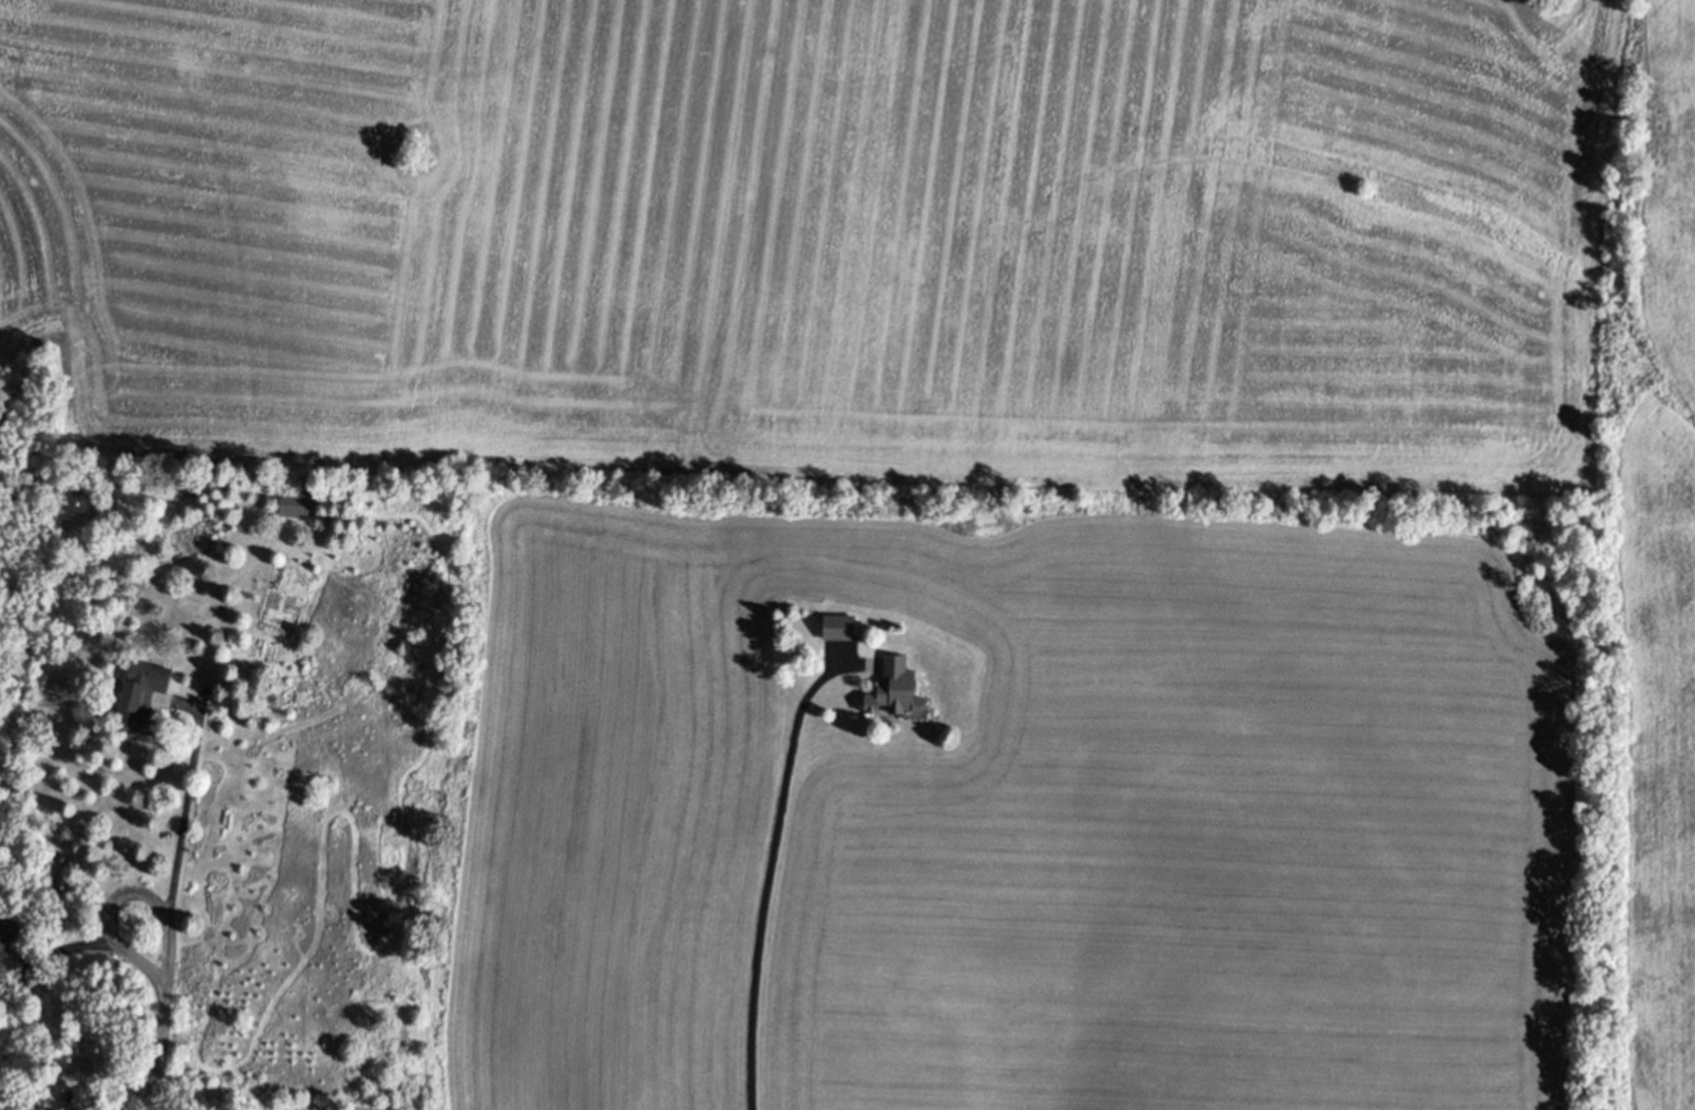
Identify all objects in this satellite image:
building: (294, 503)
building: (839, 626)
building: (894, 689)
building: (142, 694)
road: (182, 811)
road: (771, 866)
road: (104, 919)
building: (7, 932)
building: (0, 968)
road: (160, 1048)
building: (19, 1103)

